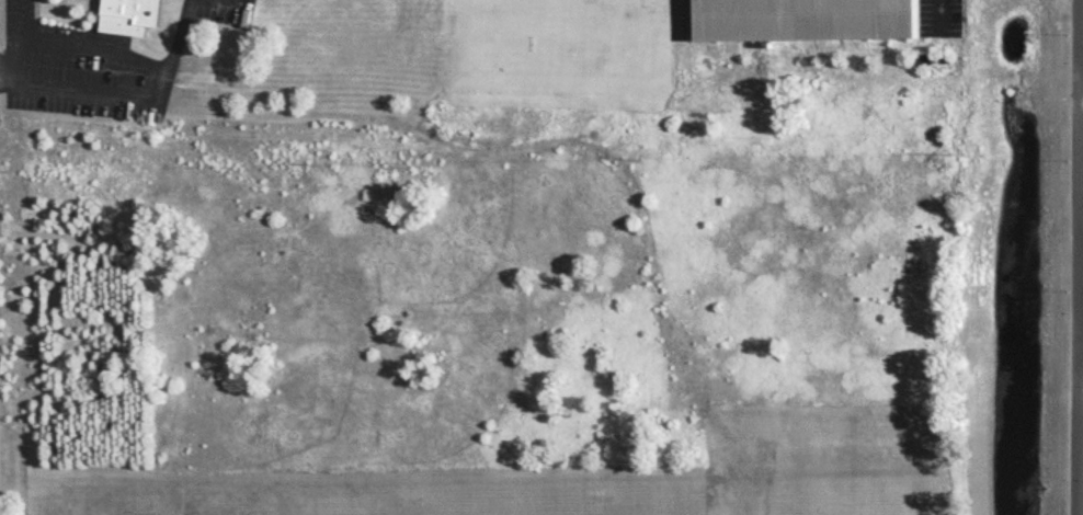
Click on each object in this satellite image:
road: (228, 3)
road: (939, 14)
building: (128, 15)
road: (35, 20)
building: (817, 20)
road: (10, 39)
road: (90, 48)
road: (130, 94)
road: (1079, 437)

